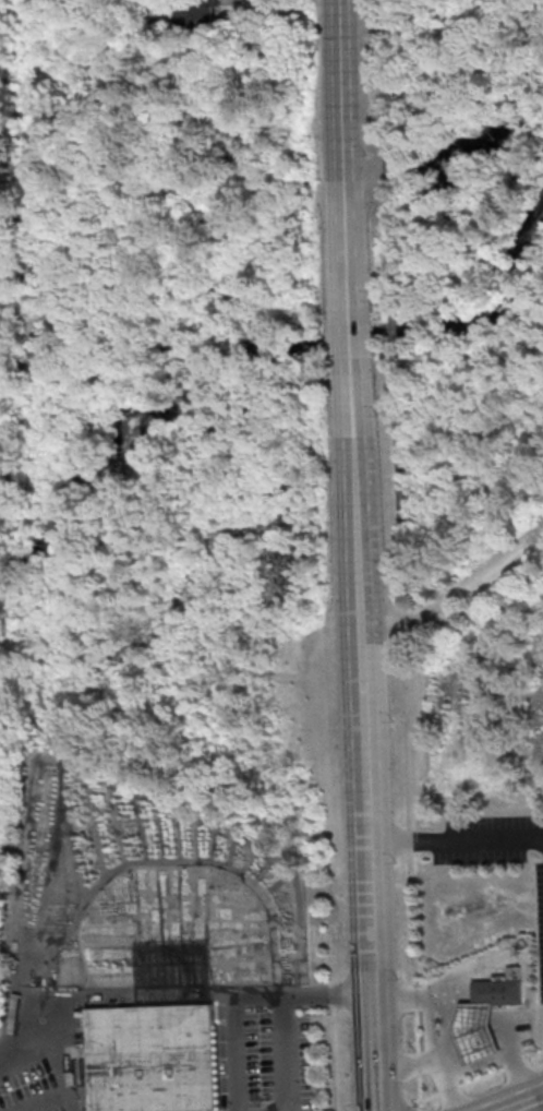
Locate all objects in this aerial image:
building: (200, 13)
road: (377, 71)
road: (342, 162)
river: (521, 253)
river: (385, 339)
road: (349, 343)
road: (396, 371)
road: (352, 439)
road: (357, 572)
road: (483, 575)
road: (389, 625)
road: (192, 677)
road: (4, 679)
road: (363, 776)
road: (455, 839)
parking lot: (486, 839)
road: (410, 857)
parking lot: (540, 918)
road: (370, 958)
building: (171, 959)
building: (500, 989)
road: (327, 994)
road: (372, 1008)
road: (436, 1023)
building: (476, 1032)
parking lot: (265, 1048)
building: (148, 1056)
road: (50, 1058)
road: (285, 1061)
road: (406, 1061)
road: (374, 1067)
road: (481, 1076)
parking lot: (28, 1090)
road: (539, 1097)
road: (520, 1104)

